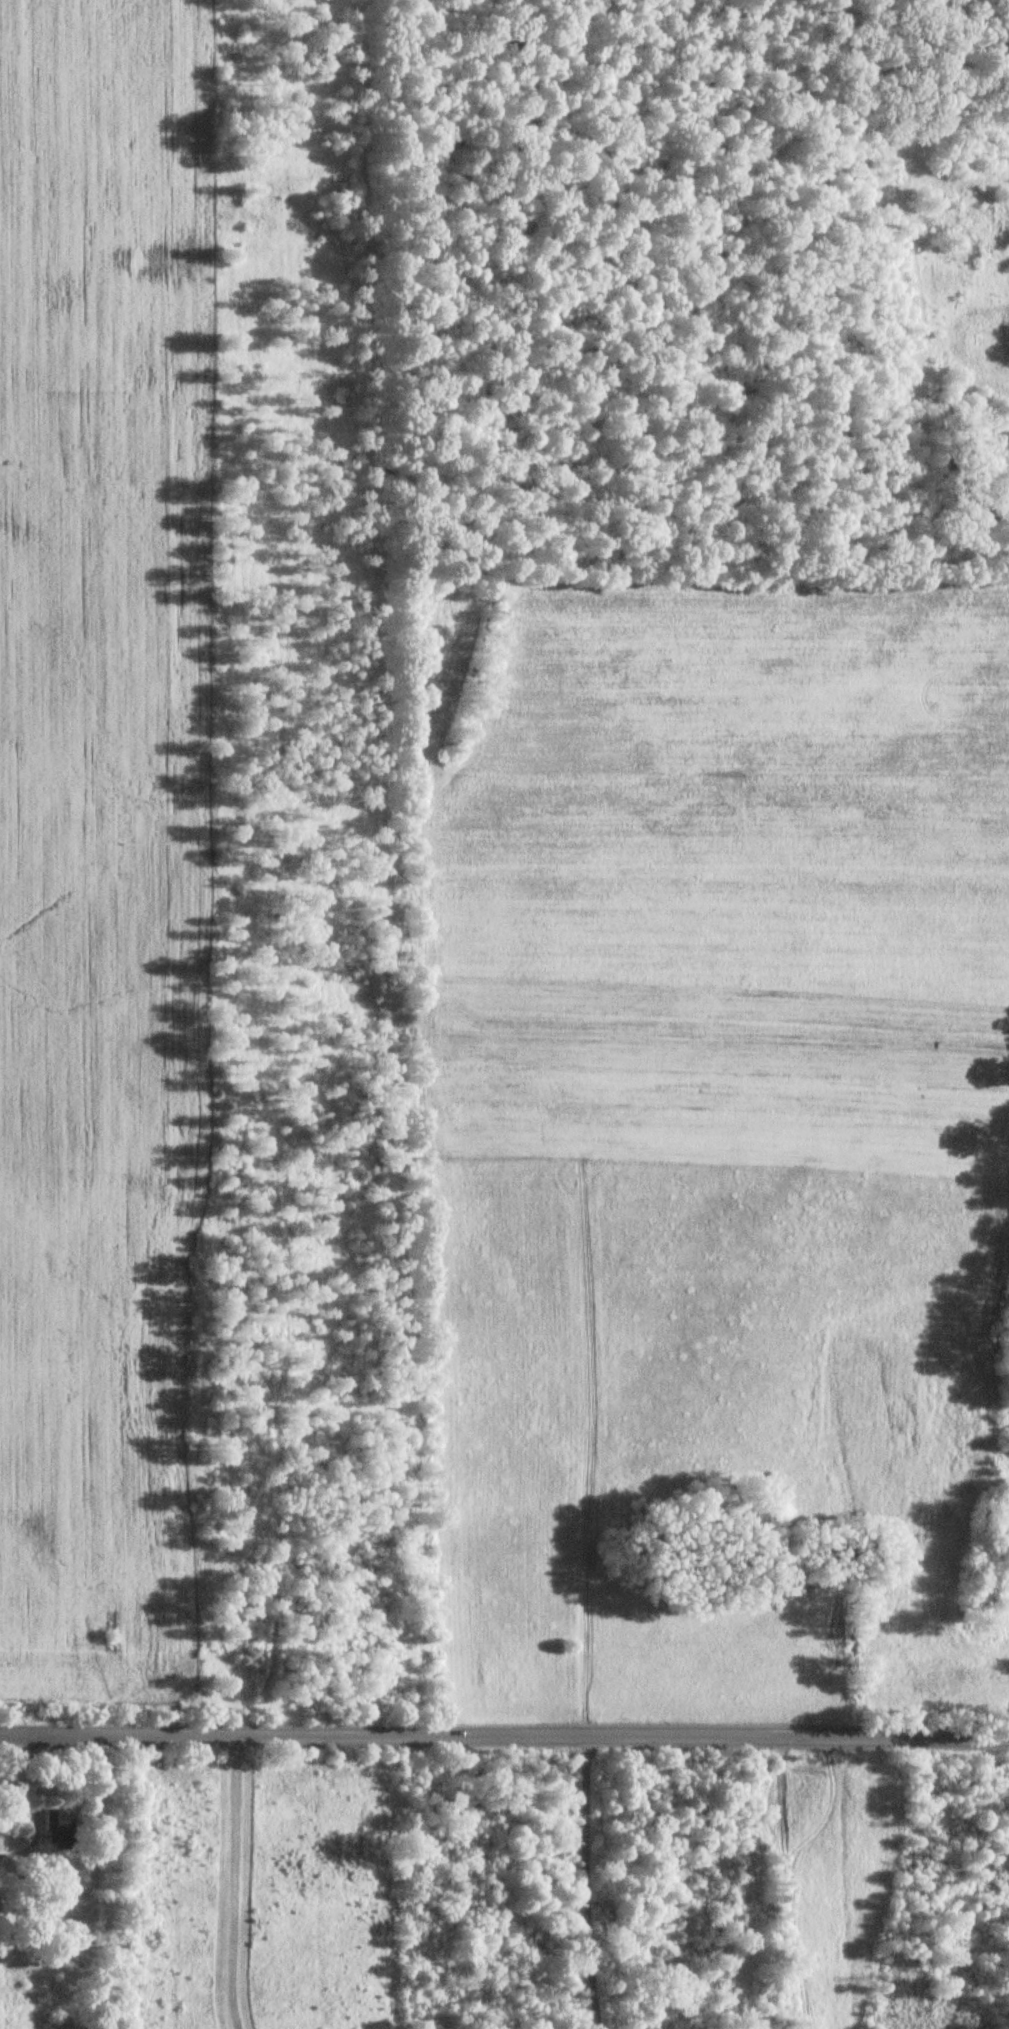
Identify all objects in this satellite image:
road: (504, 1725)
building: (61, 1829)
road: (233, 1877)
road: (589, 1877)

